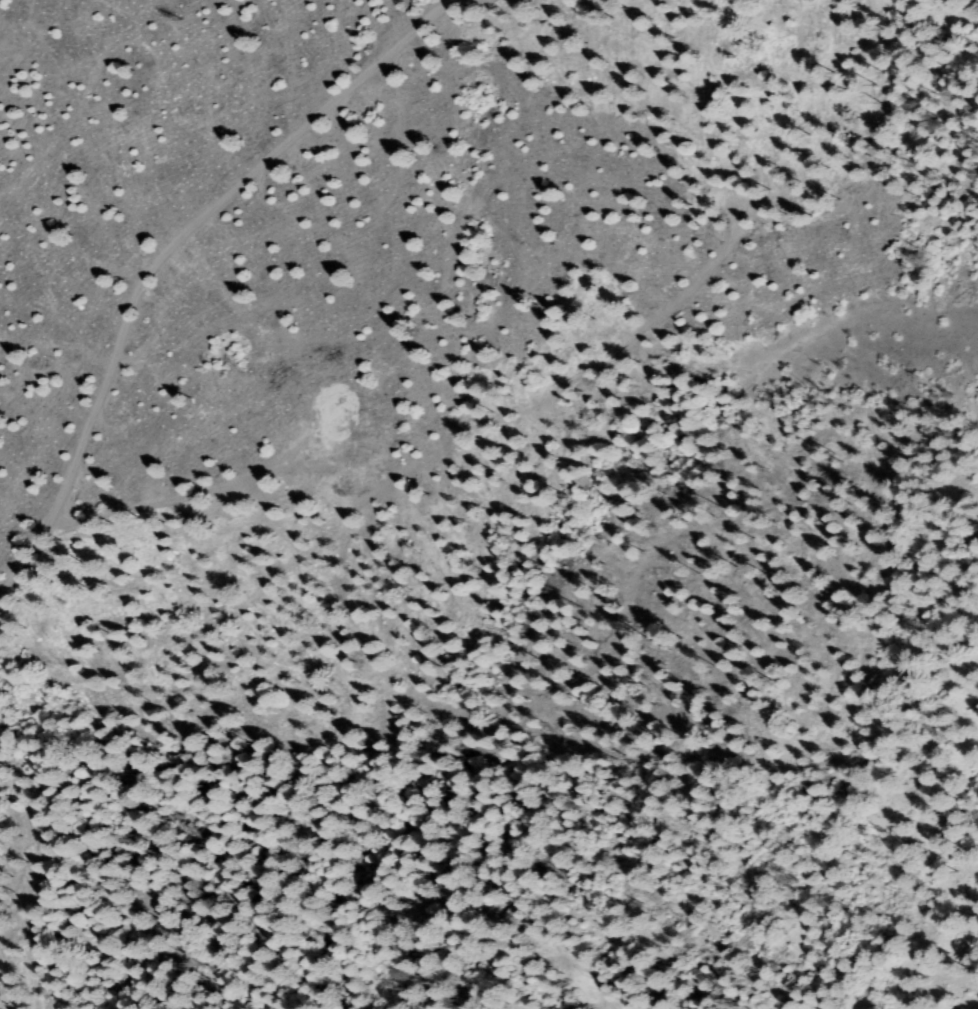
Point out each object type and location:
road: (161, 233)
building: (519, 914)

